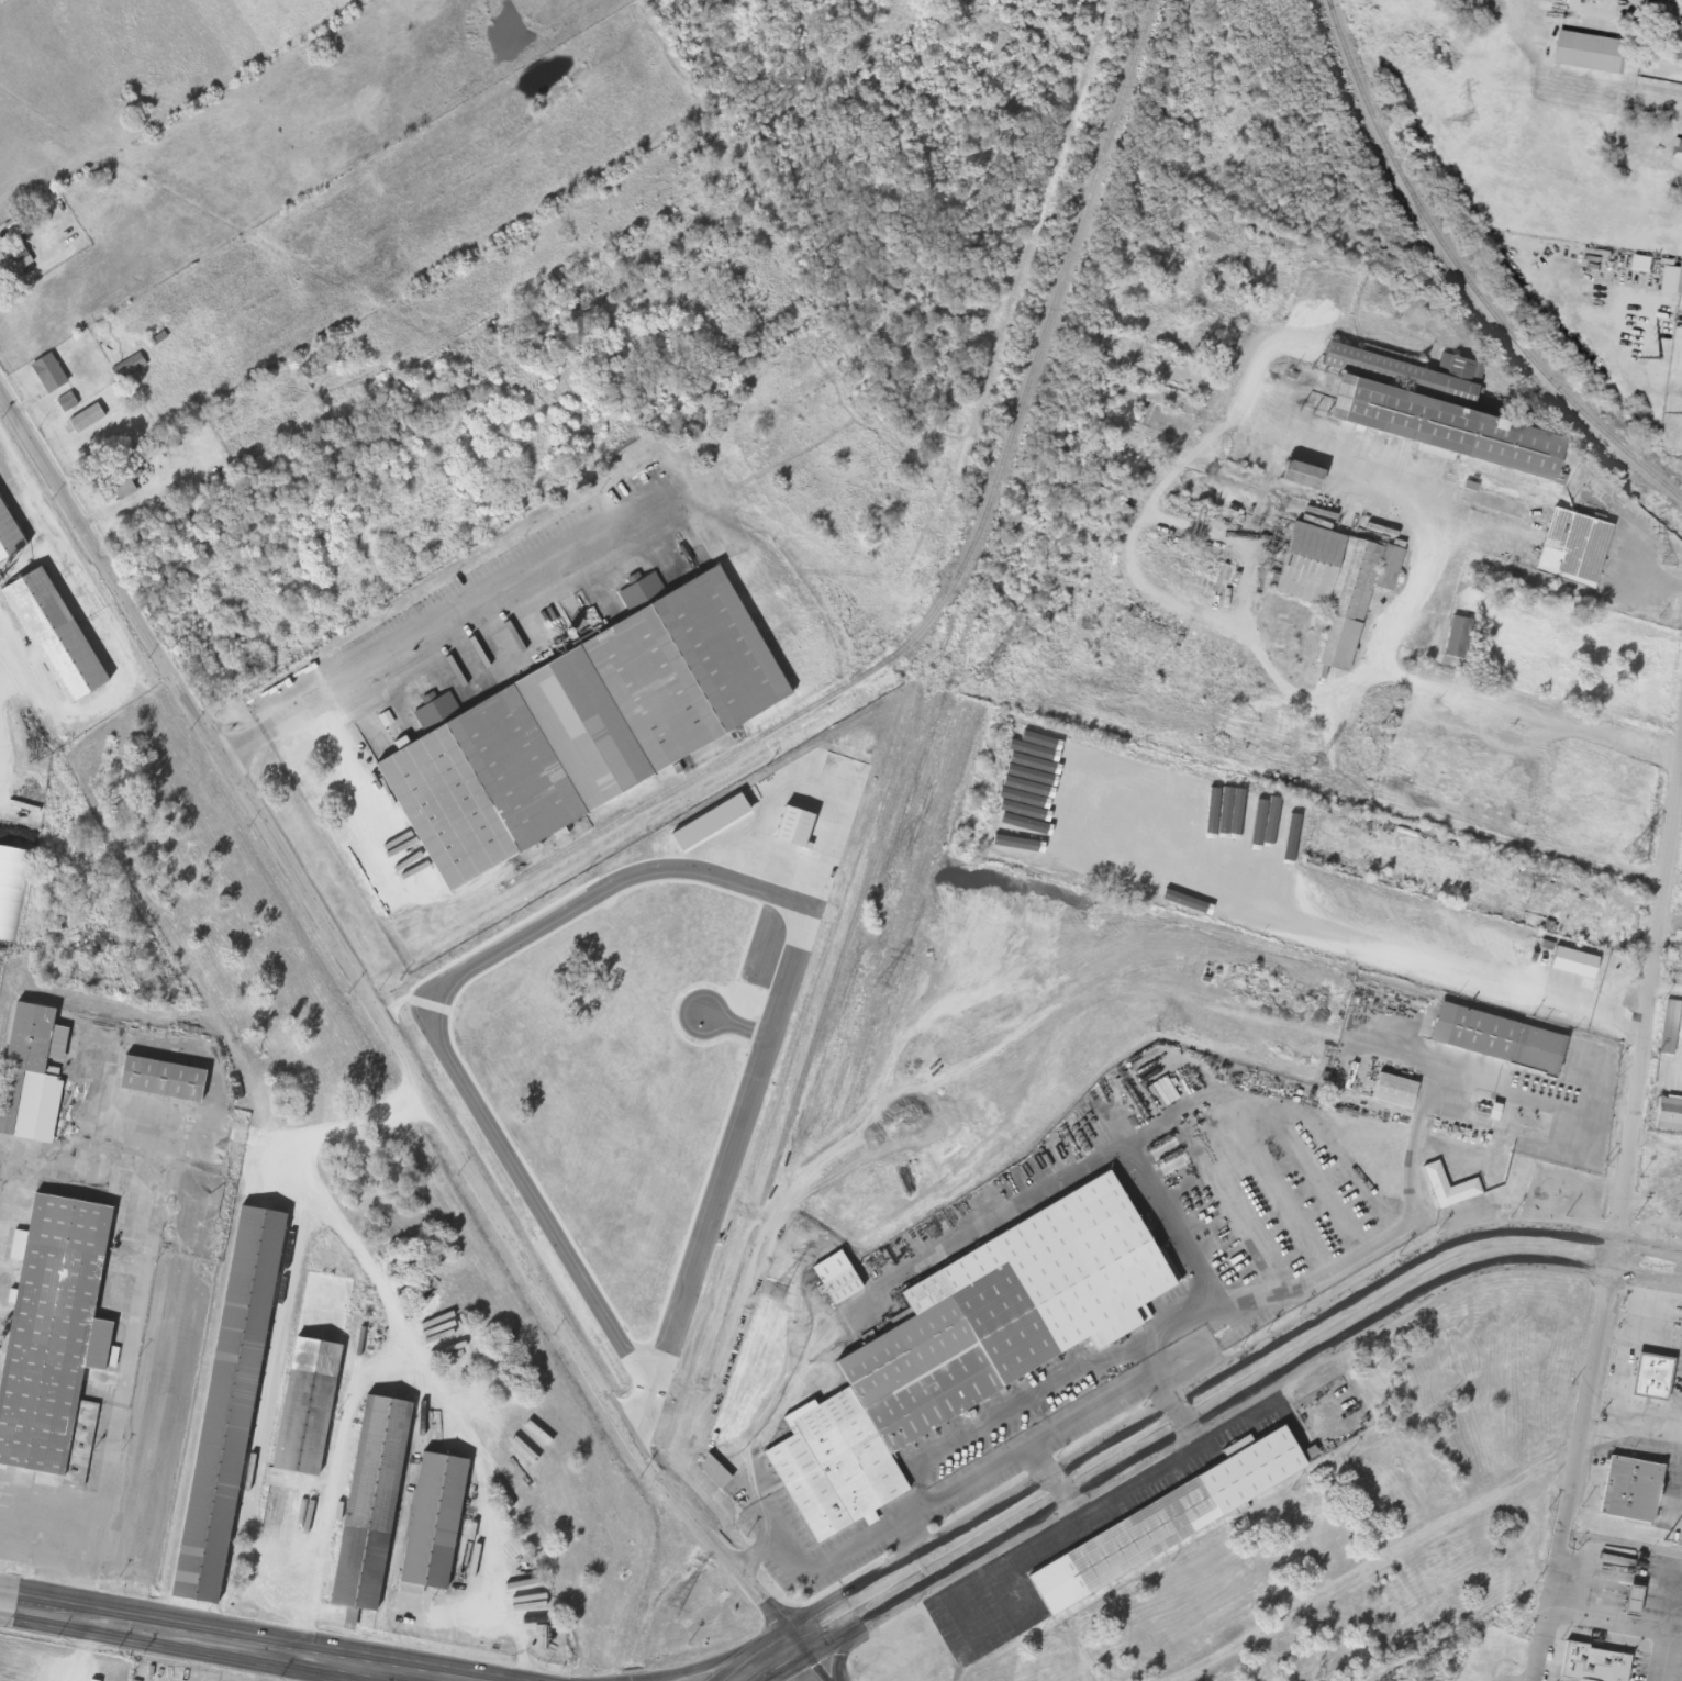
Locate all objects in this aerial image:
building: (1652, 0)
building: (1678, 41)
building: (1592, 52)
power tower: (1471, 121)
building: (1679, 148)
railway: (1076, 249)
building: (0, 263)
railway: (1468, 274)
building: (1681, 286)
building: (1225, 289)
power tower: (1658, 357)
building: (1138, 364)
building: (129, 367)
building: (49, 374)
building: (67, 402)
building: (1425, 412)
building: (86, 419)
building: (1243, 442)
building: (1300, 477)
building: (119, 483)
building: (9, 537)
building: (1572, 549)
power tower: (1669, 563)
building: (1335, 585)
road: (443, 626)
building: (57, 636)
building: (1457, 639)
power tower: (980, 678)
railway: (780, 726)
building: (580, 728)
power tower: (1313, 765)
power tower: (1630, 856)
building: (1128, 873)
building: (1428, 925)
building: (1604, 964)
railway: (1145, 968)
power tower: (879, 987)
road: (387, 1023)
building: (1669, 1028)
building: (1496, 1039)
building: (31, 1075)
building: (165, 1079)
building: (1393, 1091)
building: (1668, 1115)
building: (1449, 1189)
road: (1615, 1218)
building: (835, 1279)
power tower: (777, 1294)
building: (1005, 1307)
building: (55, 1336)
building: (313, 1372)
road: (1223, 1372)
building: (1663, 1382)
building: (232, 1403)
road: (1229, 1403)
road: (1181, 1415)
building: (838, 1468)
road: (1060, 1485)
building: (1642, 1495)
building: (1390, 1496)
building: (375, 1502)
building: (436, 1522)
building: (1165, 1522)
building: (1328, 1530)
power tower: (1666, 1544)
road: (1375, 1561)
railway: (642, 1562)
building: (1433, 1585)
power tower: (670, 1610)
road: (263, 1636)
road: (174, 1649)
road: (839, 1652)
road: (764, 1654)
road: (815, 1656)
building: (1633, 1665)
road: (695, 1668)

